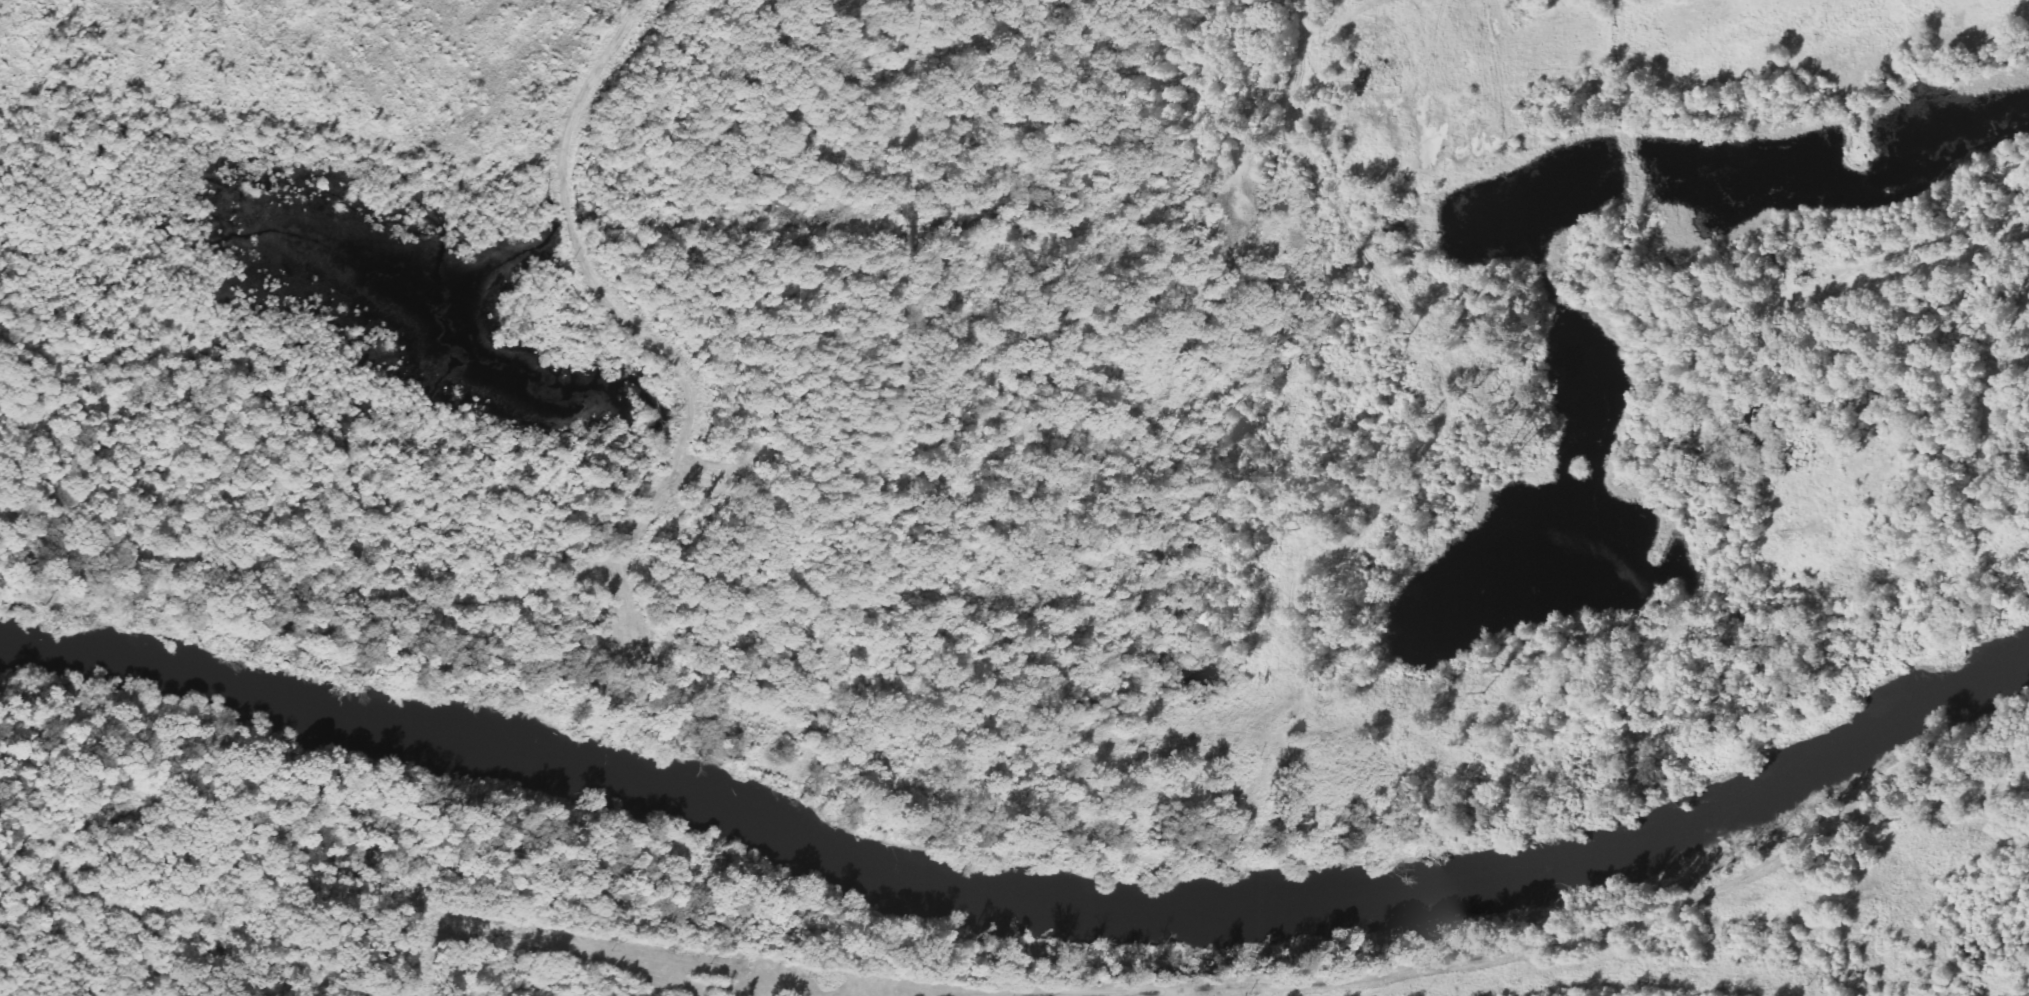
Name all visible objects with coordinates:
river: (1021, 897)
road: (1574, 943)

